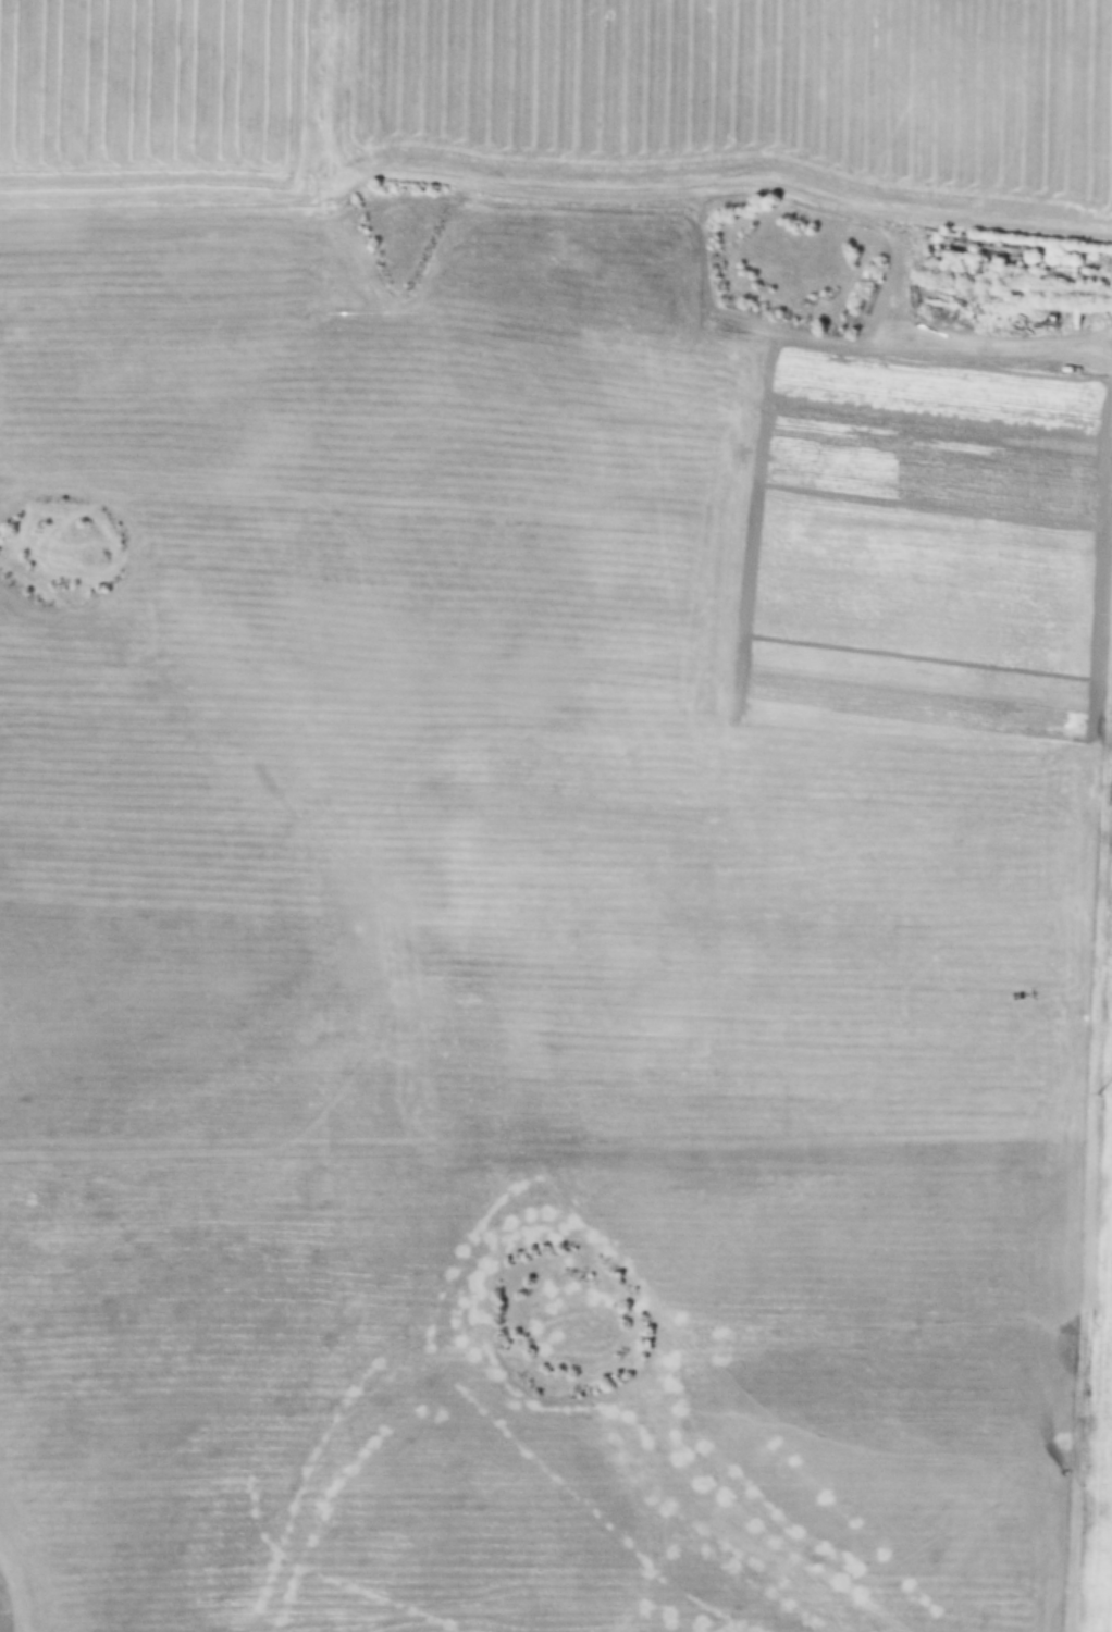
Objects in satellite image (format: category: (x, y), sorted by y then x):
power tower: (1096, 1087)

